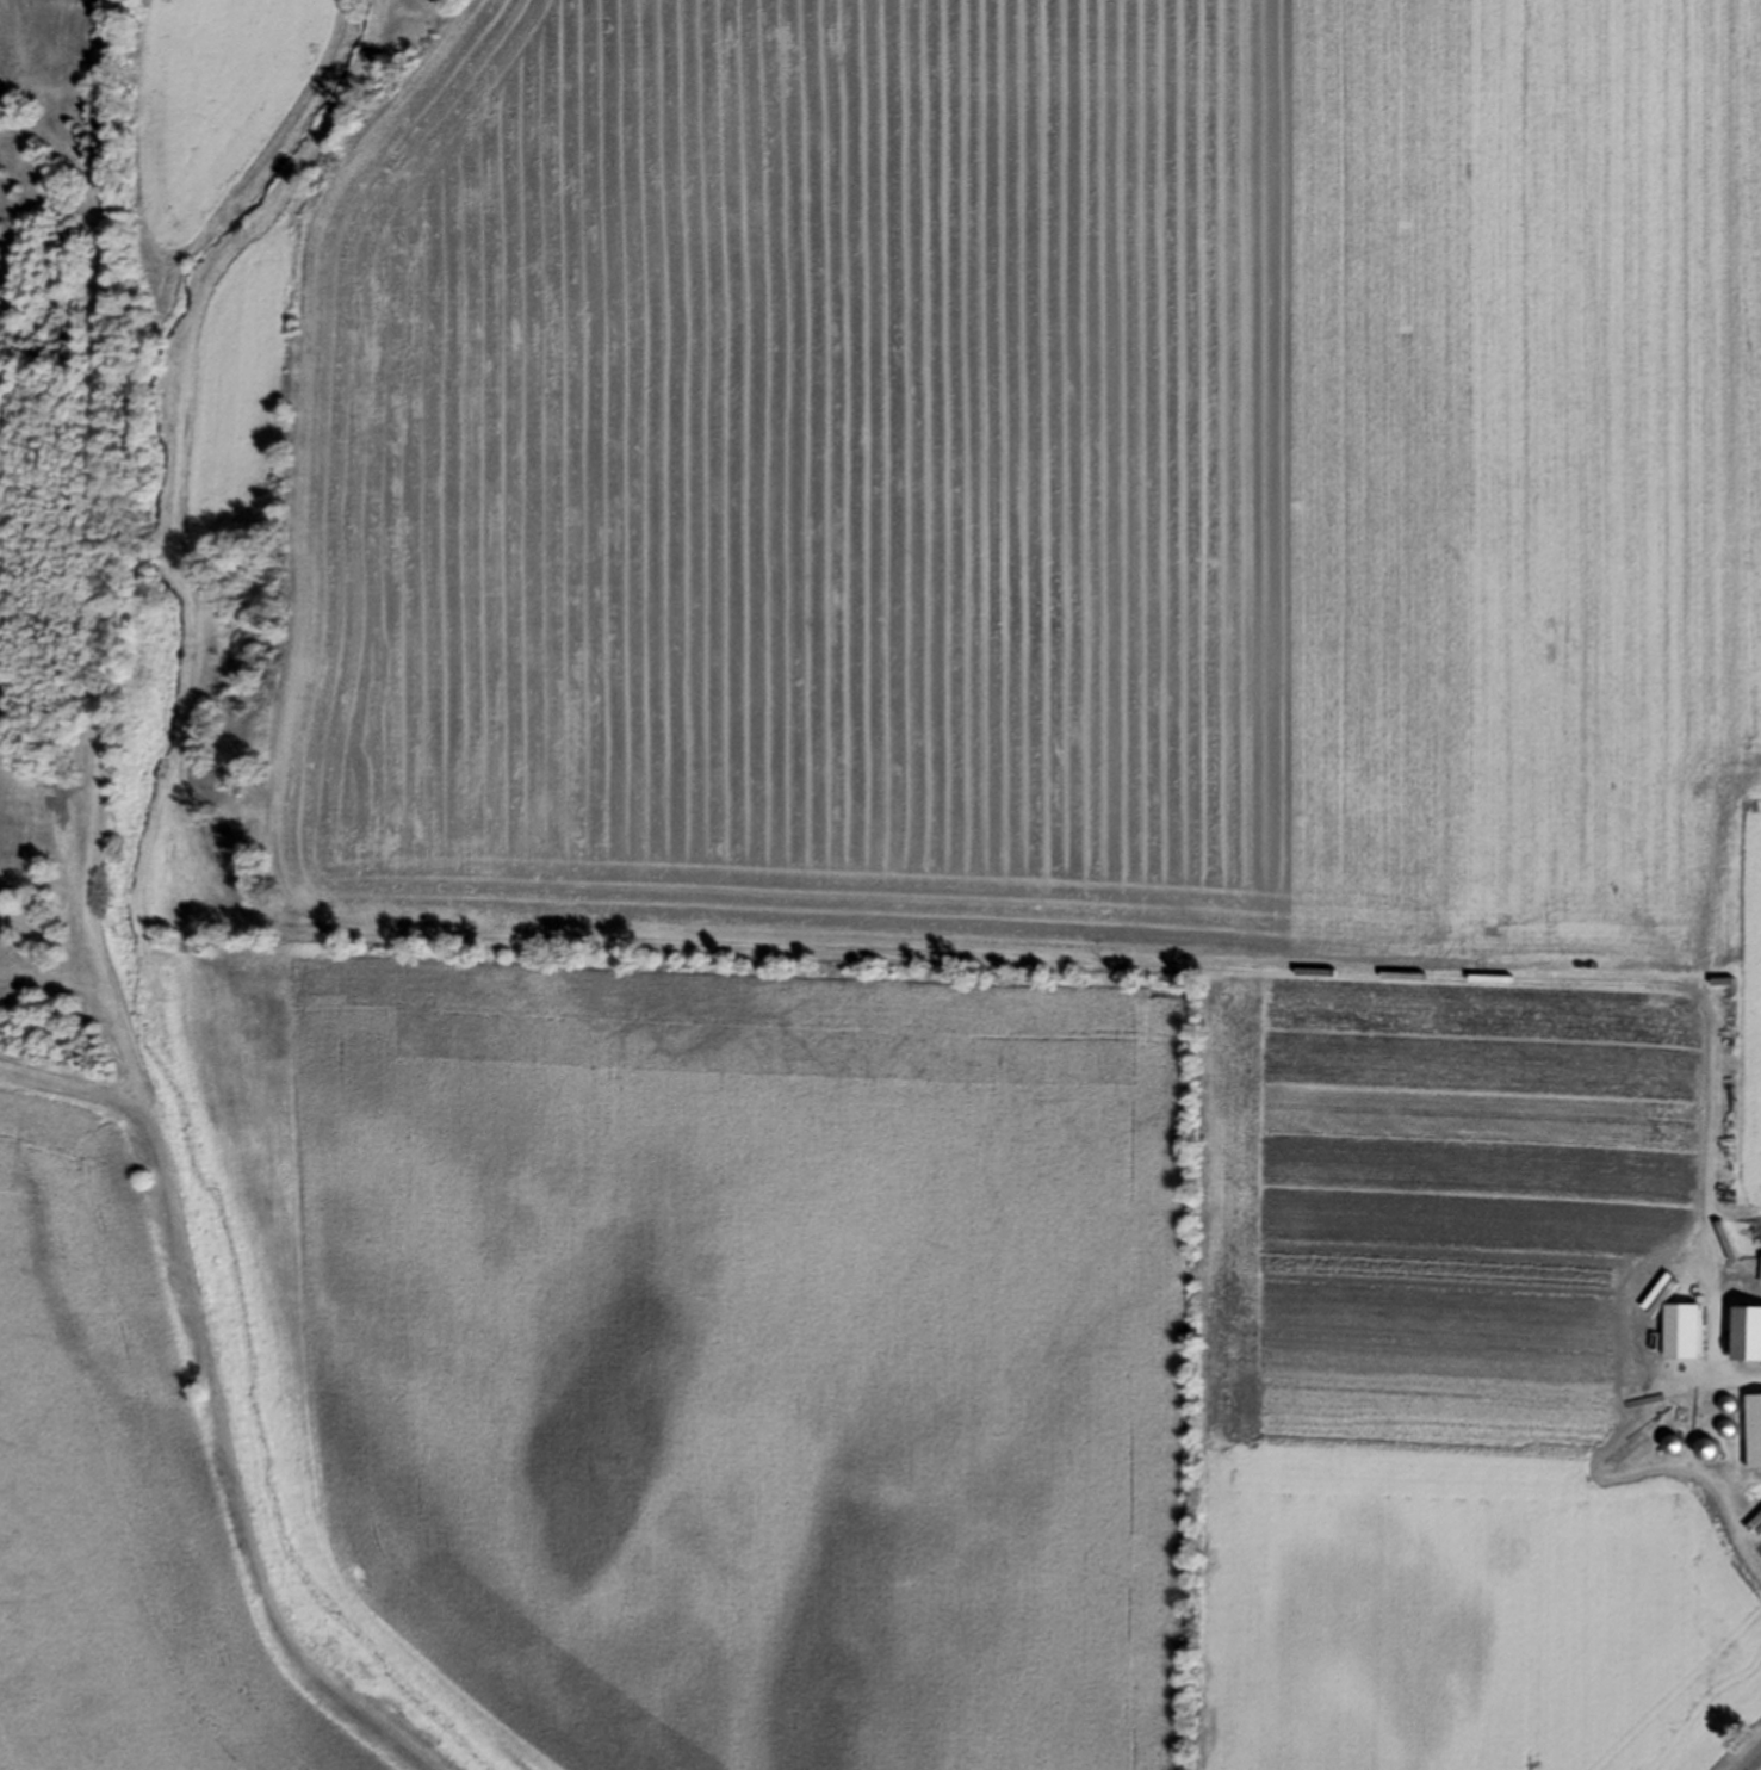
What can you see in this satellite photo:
building: (1748, 1330)
building: (1754, 1429)
building: (1674, 1442)
building: (1709, 1447)
road: (1754, 1763)

